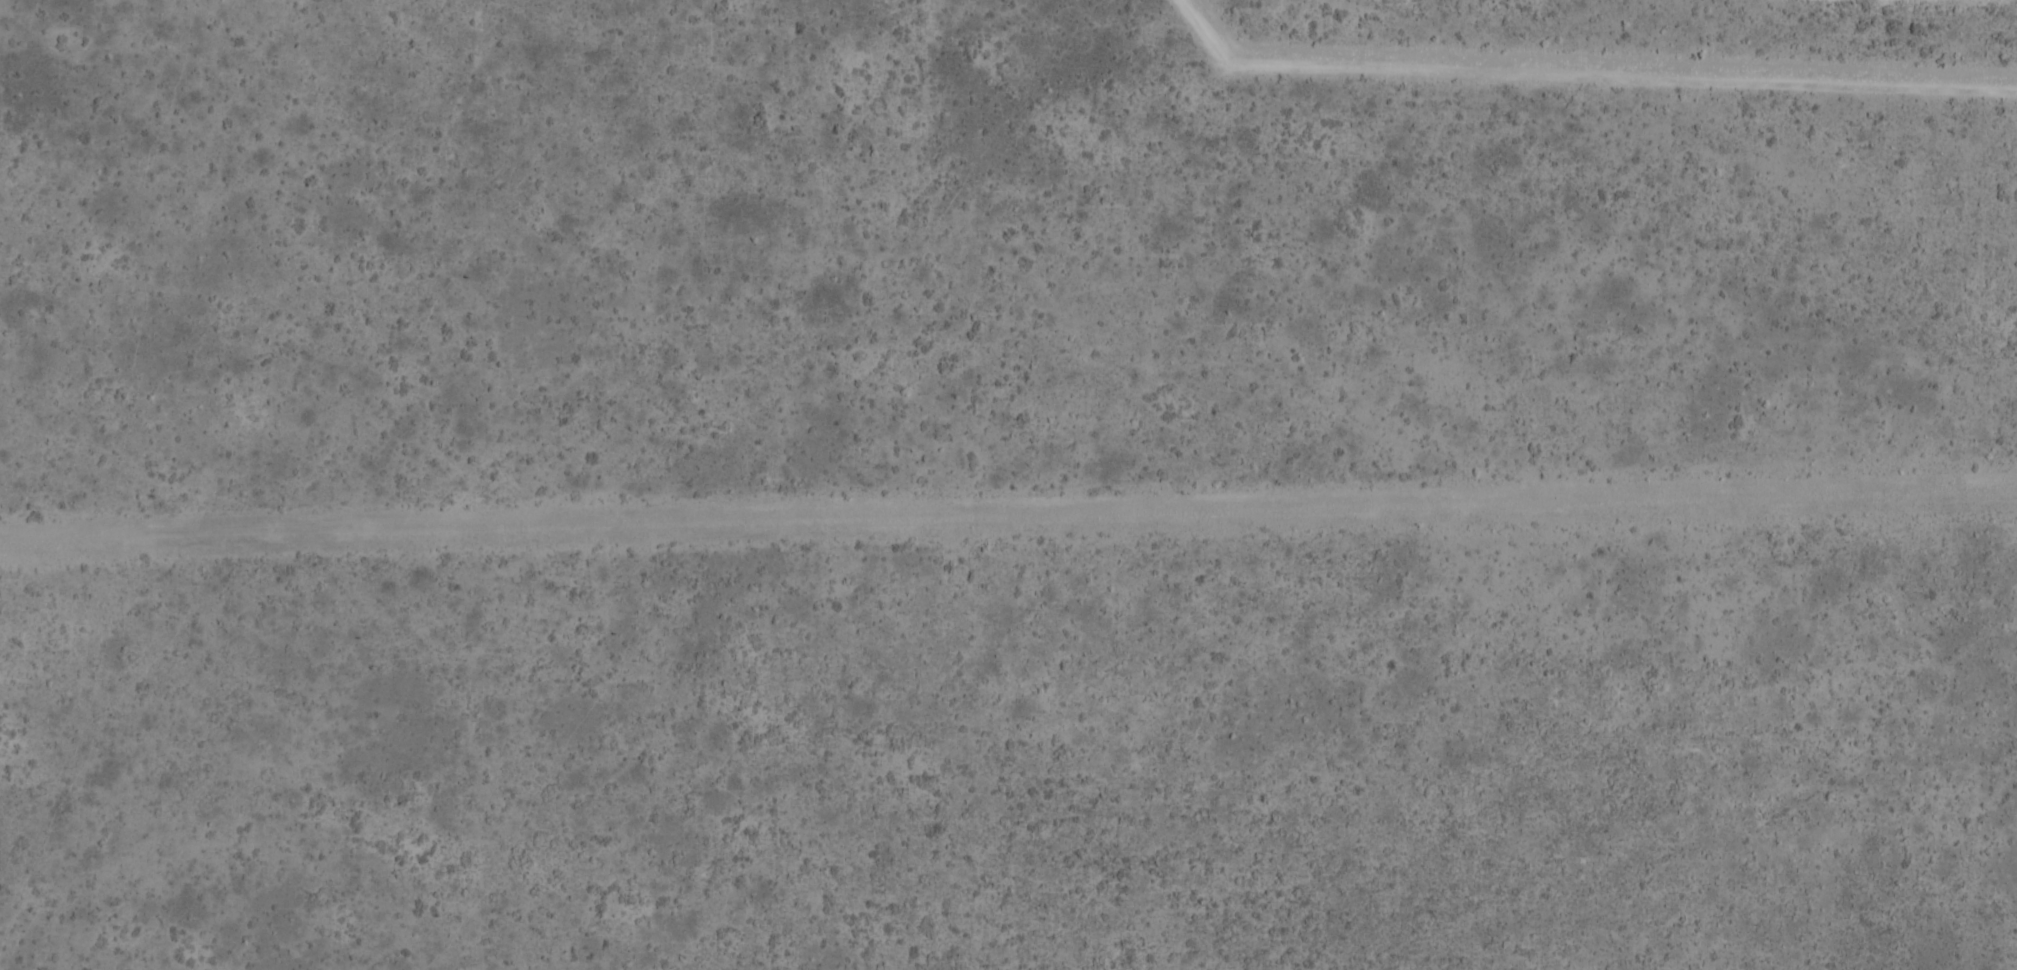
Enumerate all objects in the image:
road: (1816, 2)

